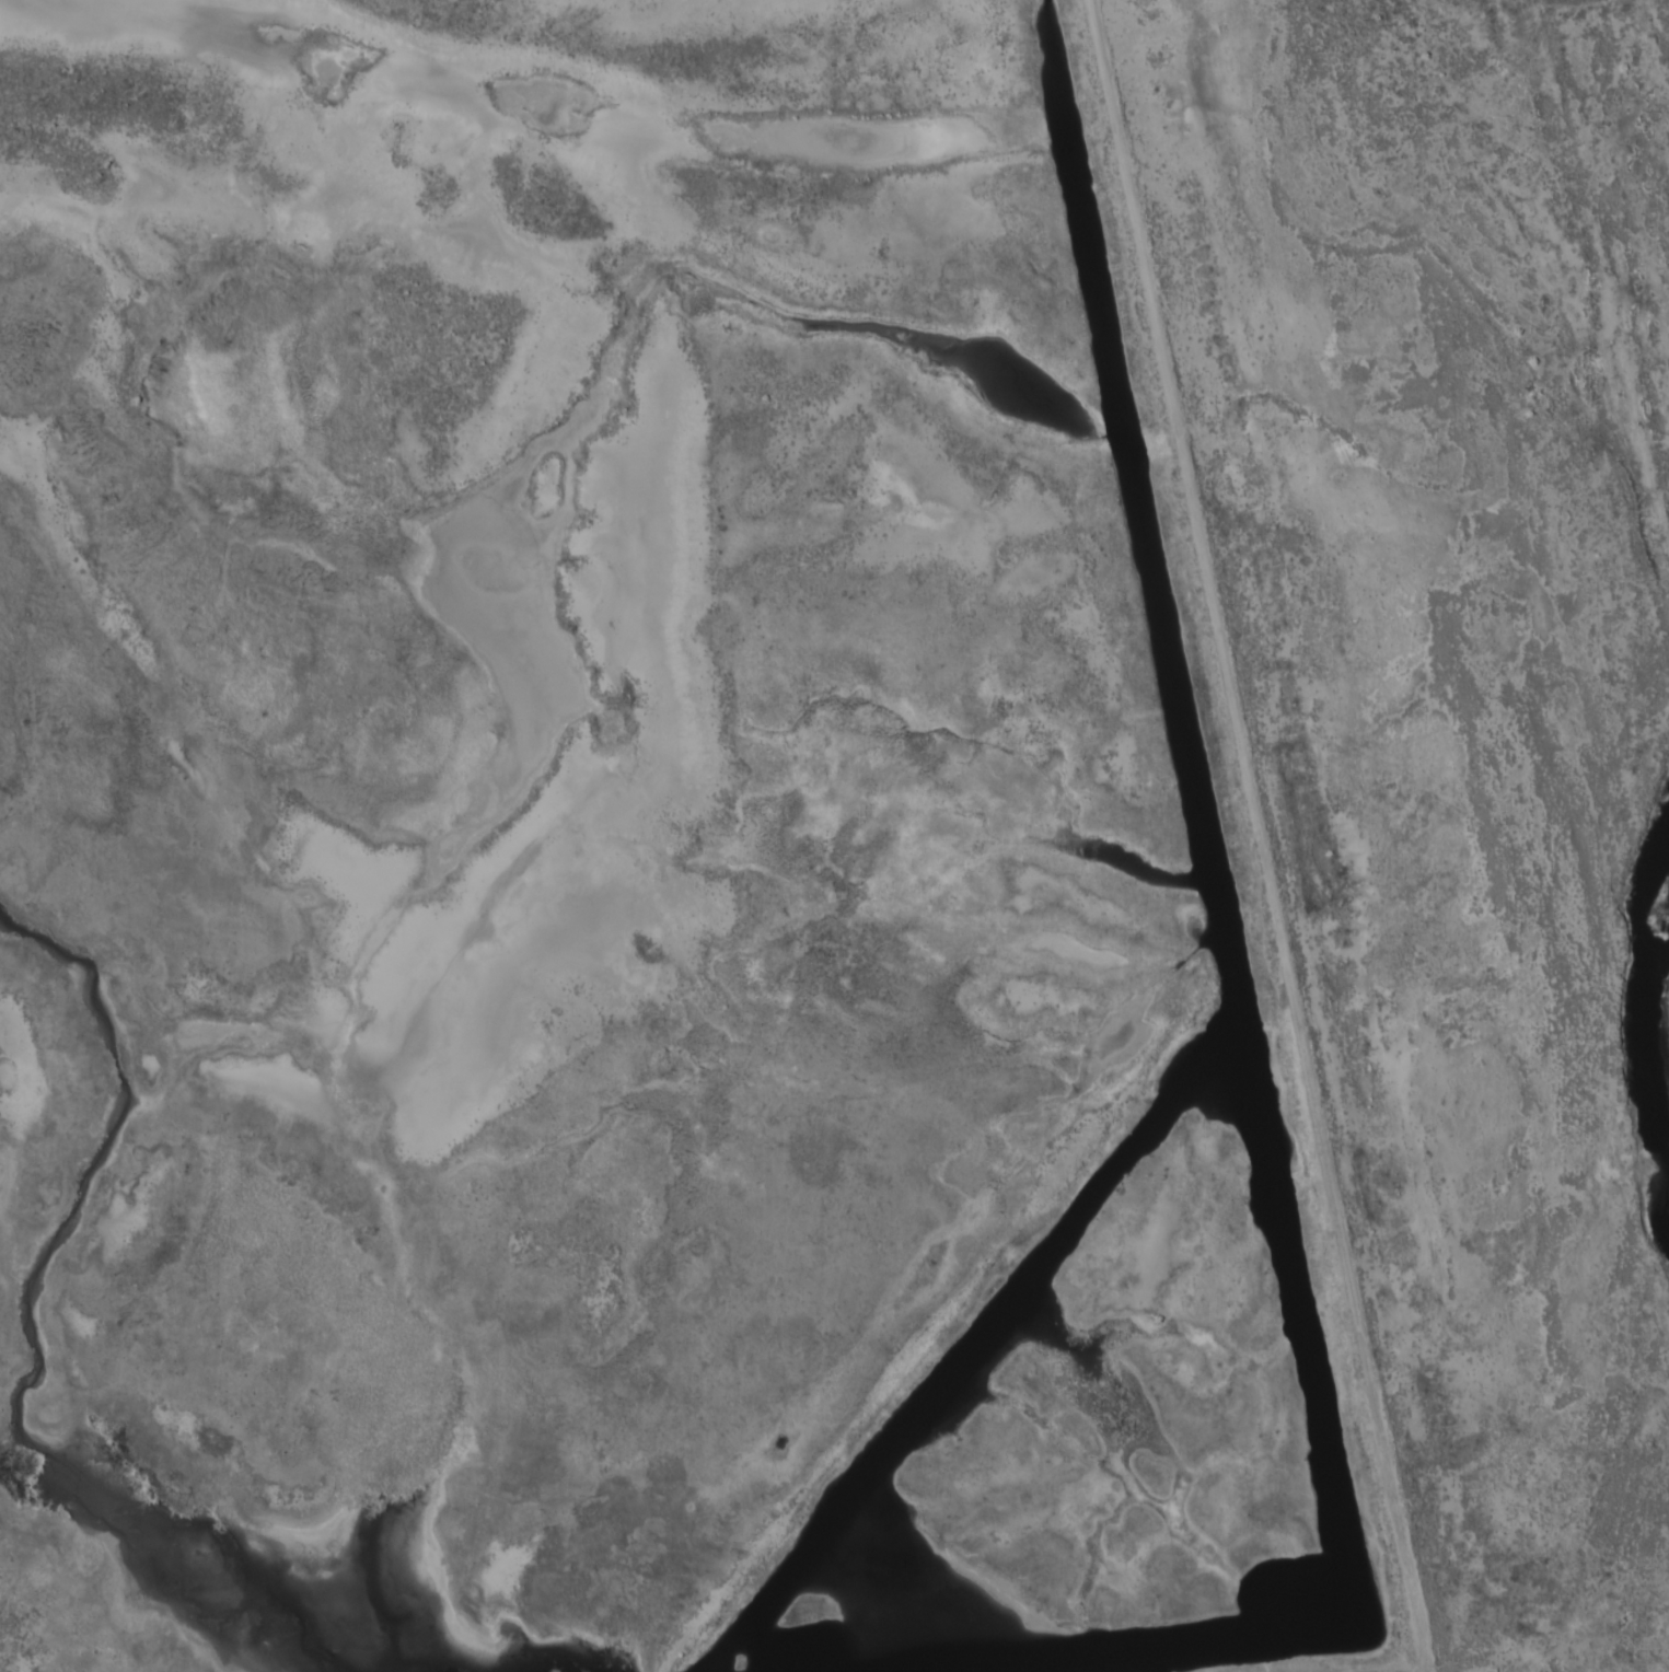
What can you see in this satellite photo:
road: (1288, 834)

